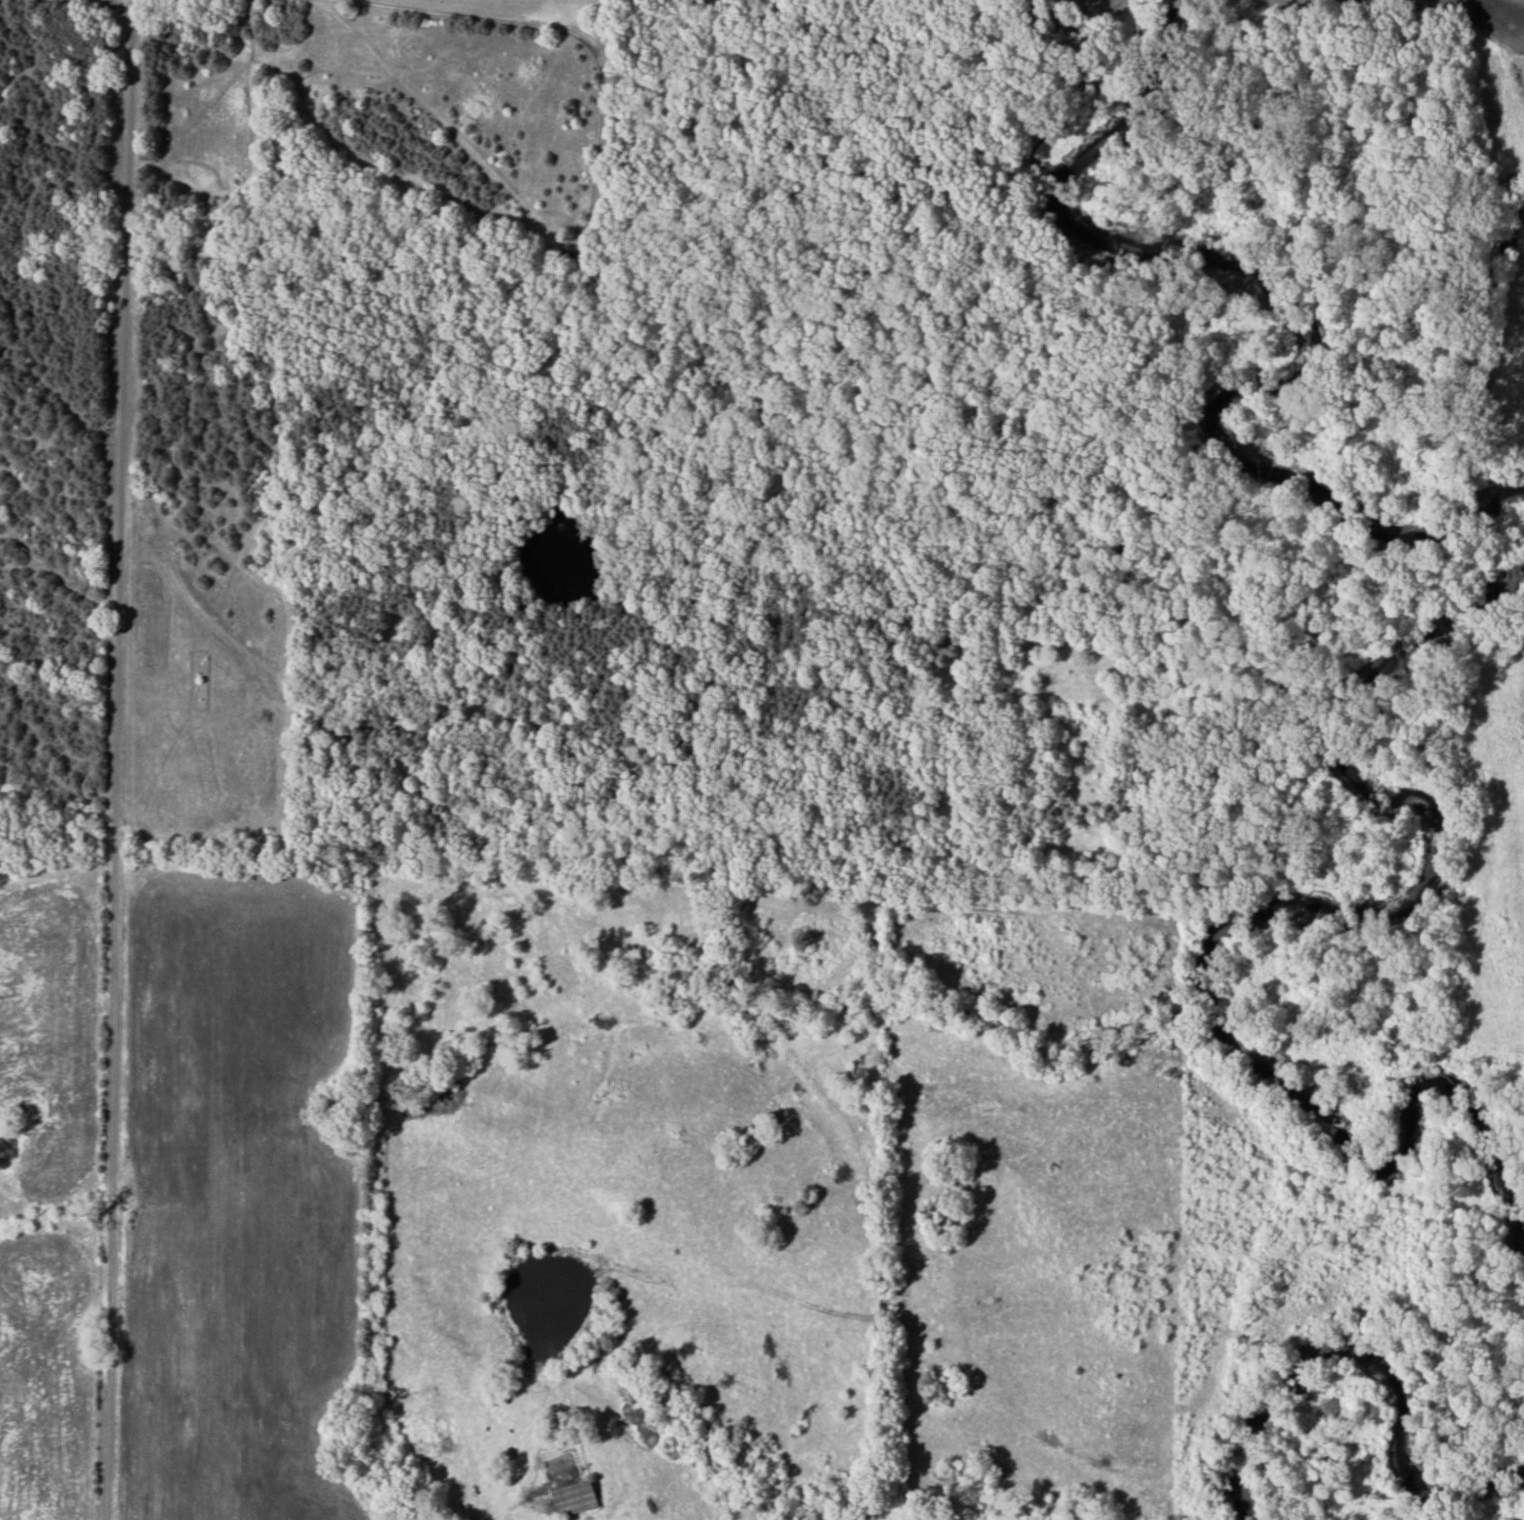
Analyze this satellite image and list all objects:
road: (110, 2)
road: (118, 758)
building: (573, 1499)

